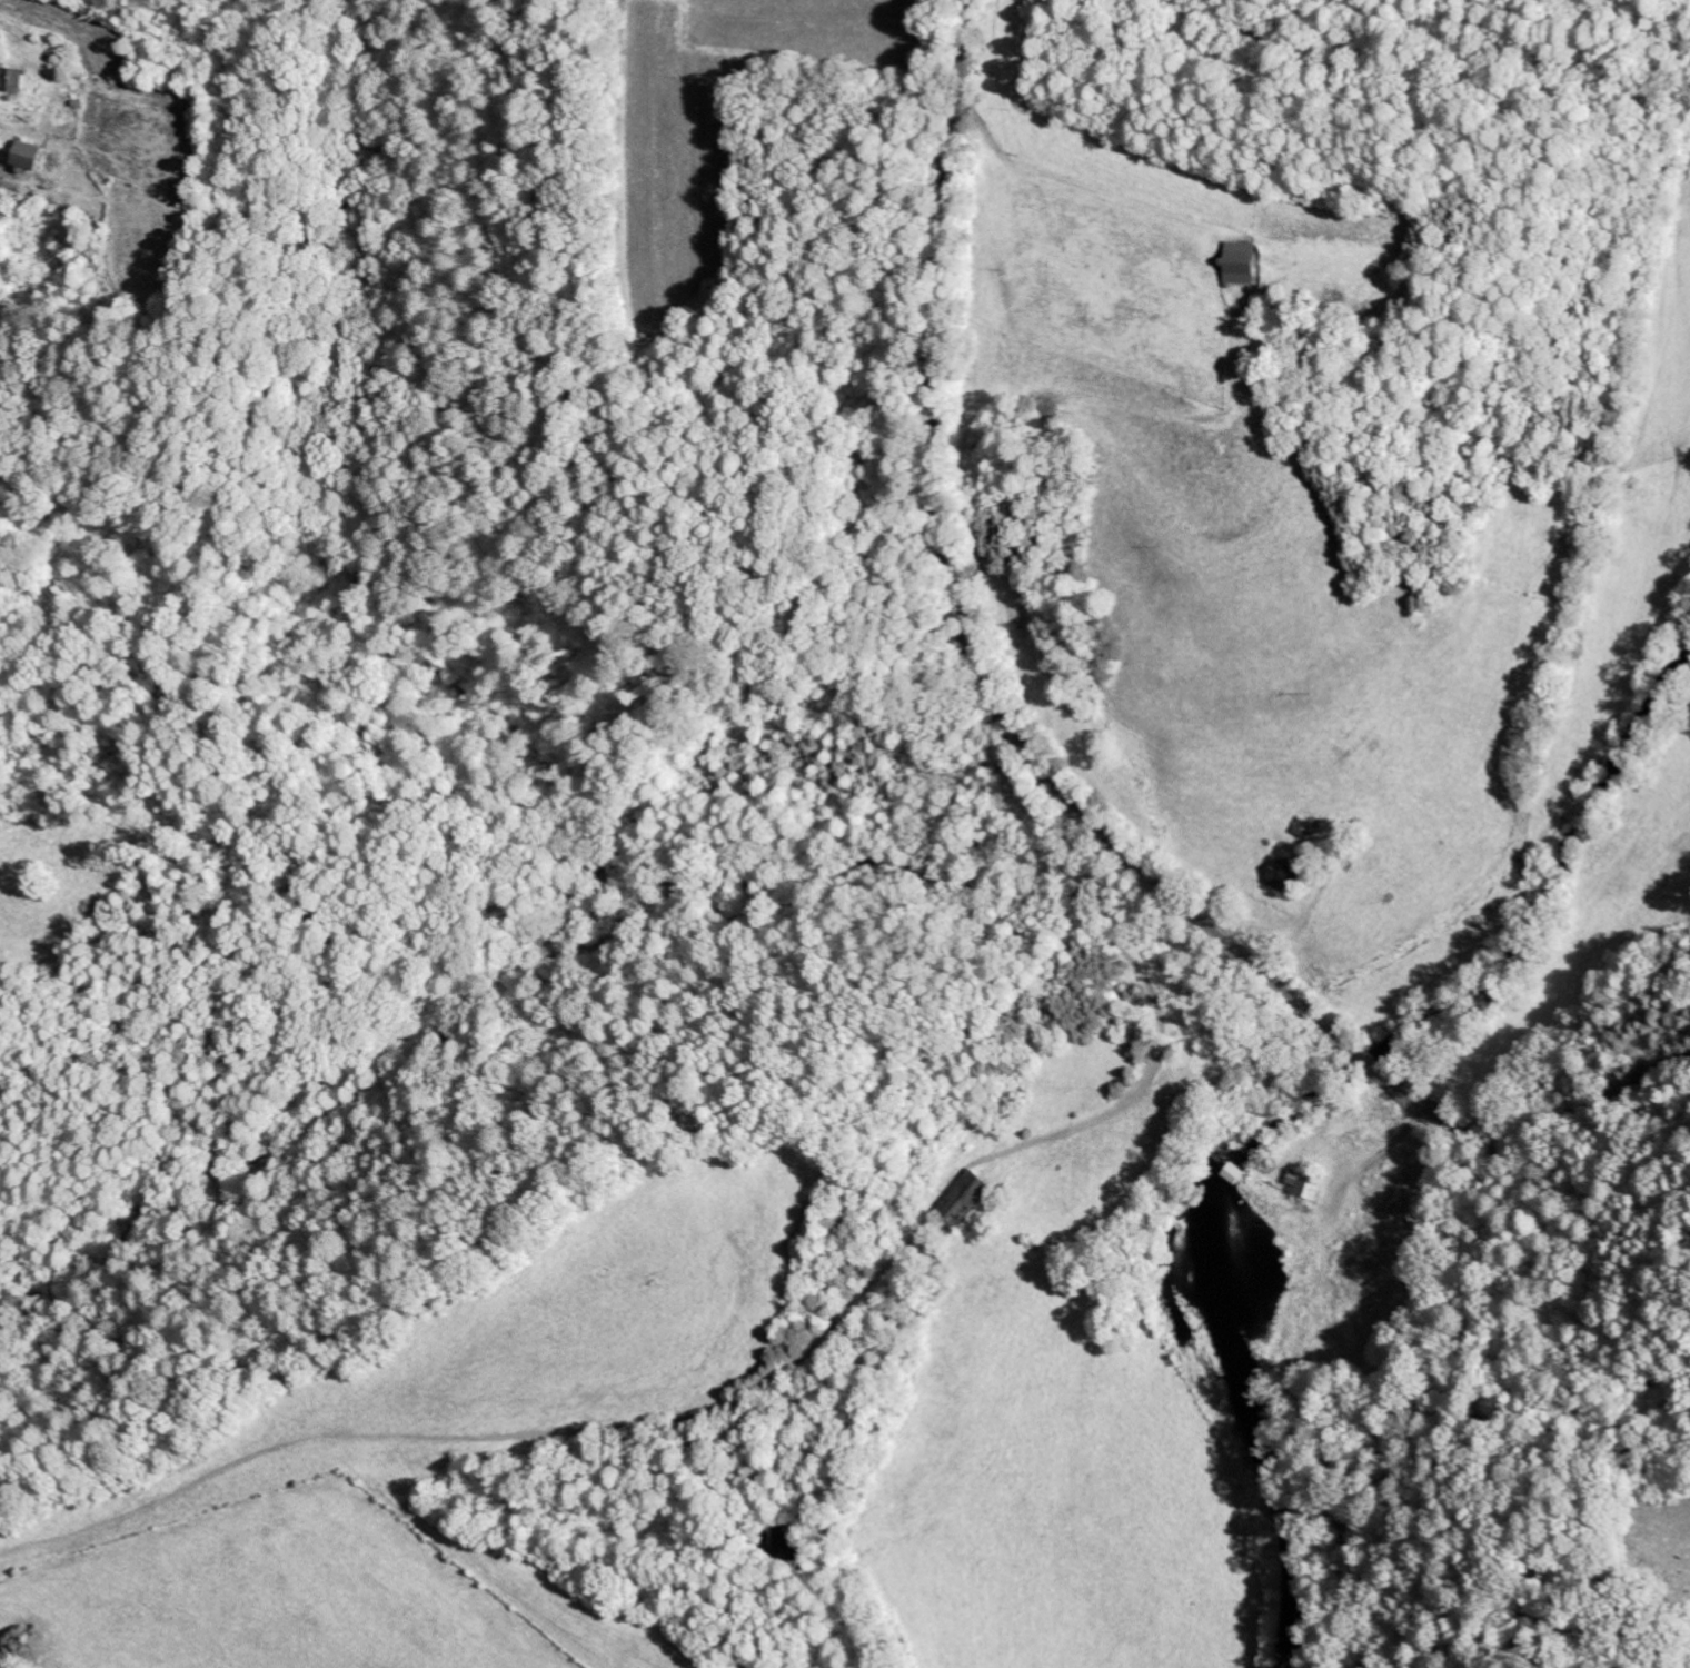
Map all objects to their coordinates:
building: (33, 155)
building: (1244, 262)
road: (1040, 781)

